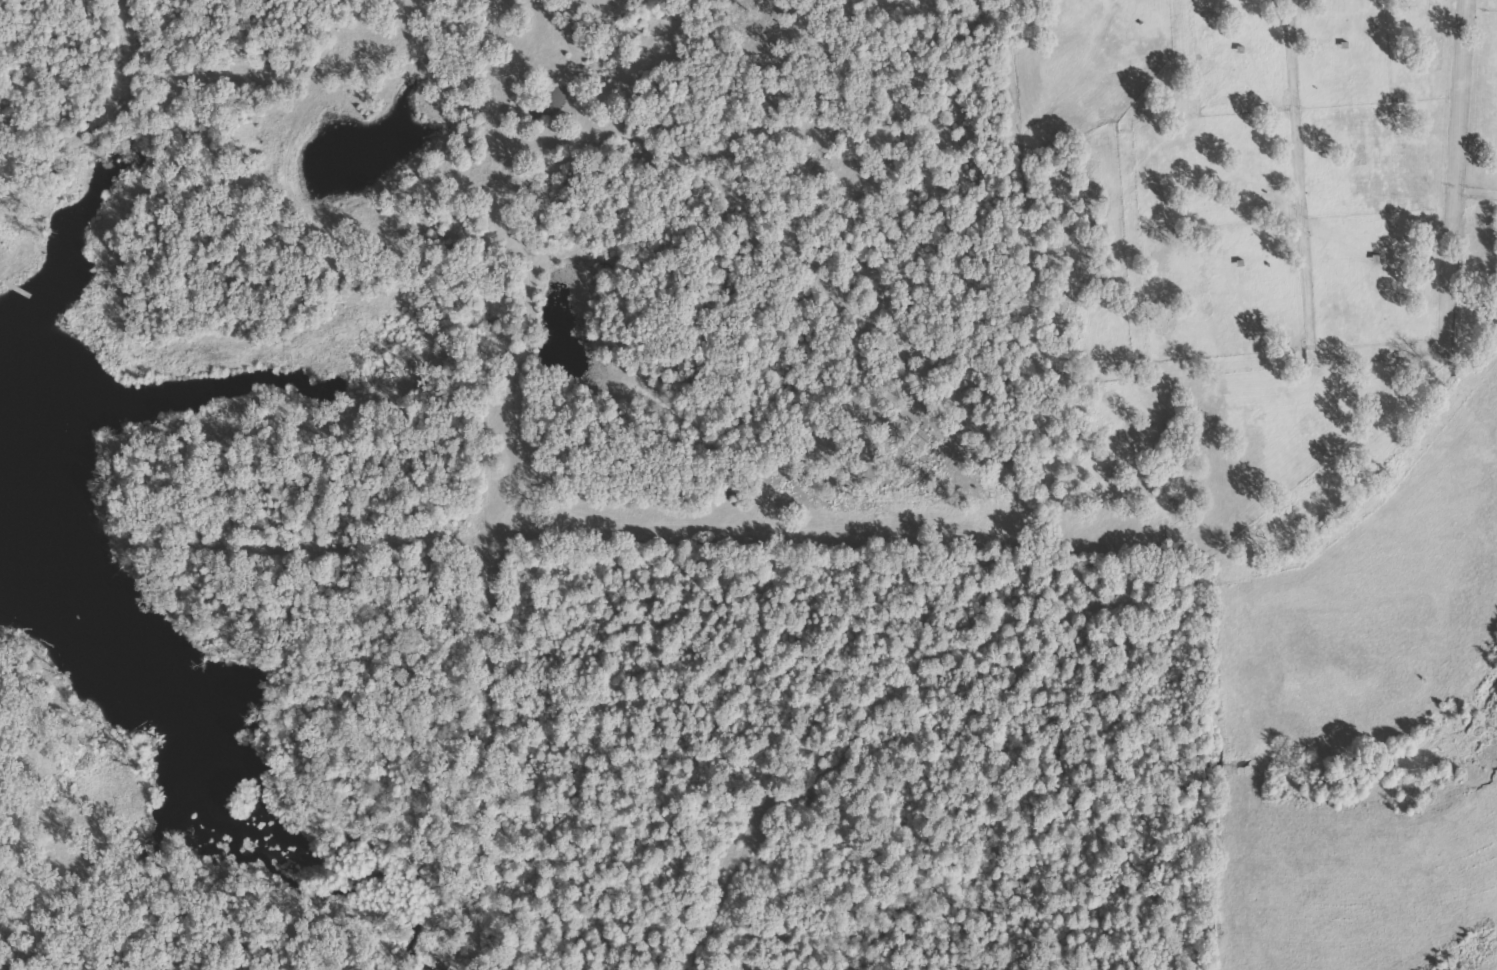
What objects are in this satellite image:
road: (788, 542)

